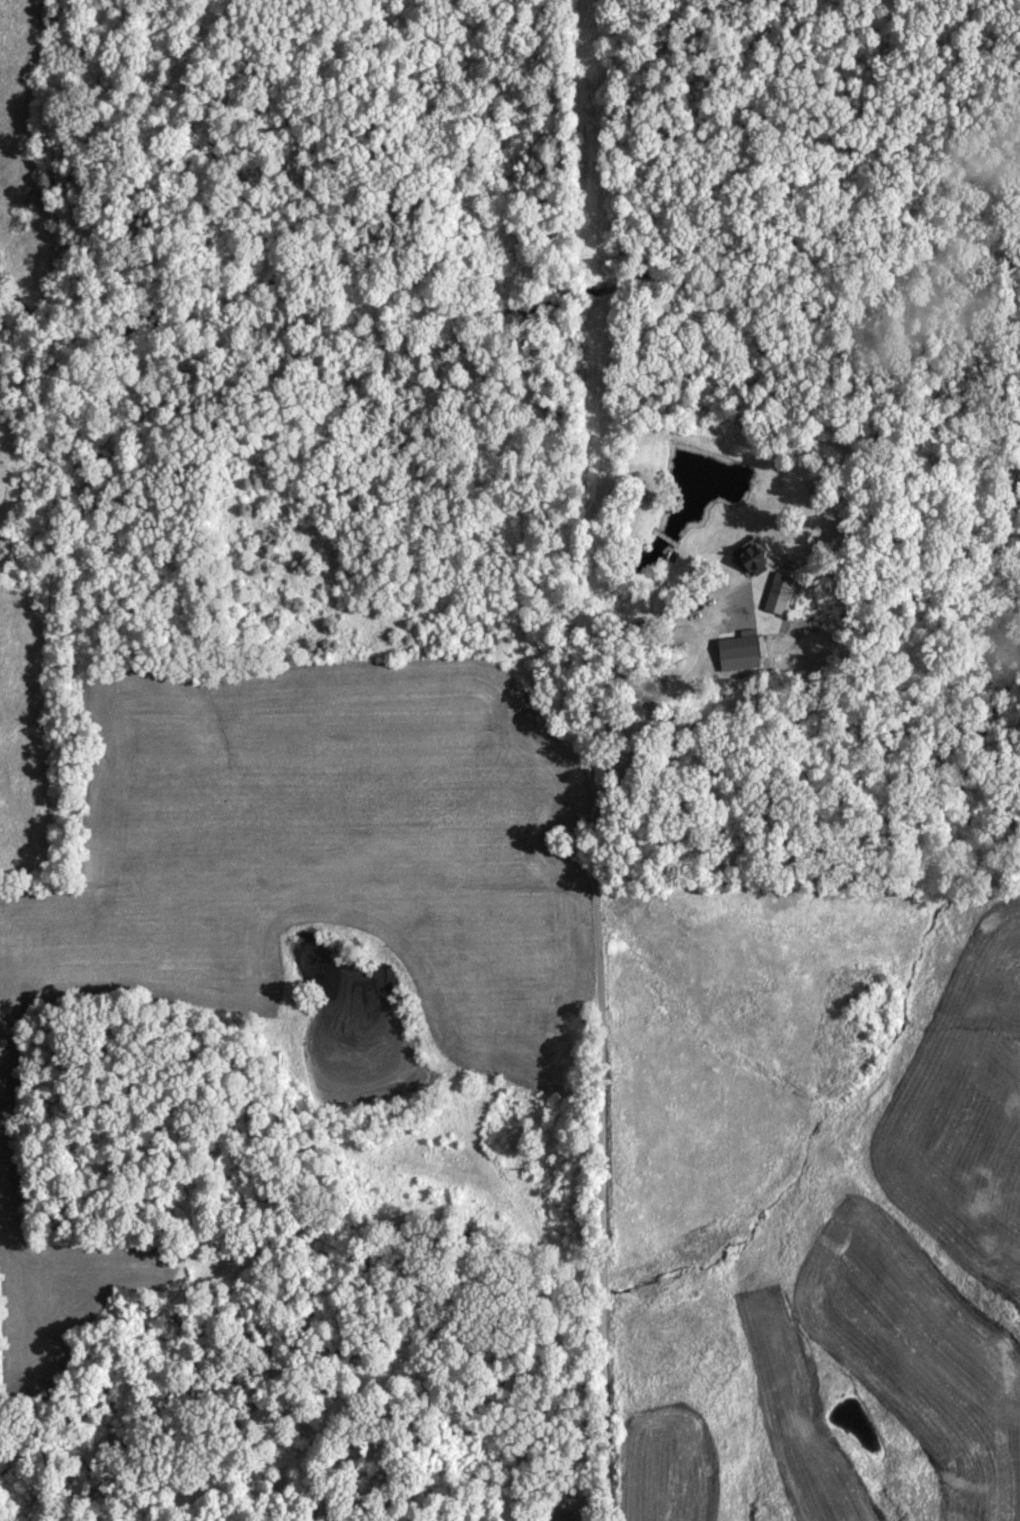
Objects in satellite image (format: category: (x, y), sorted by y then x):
building: (777, 597)
building: (741, 657)

